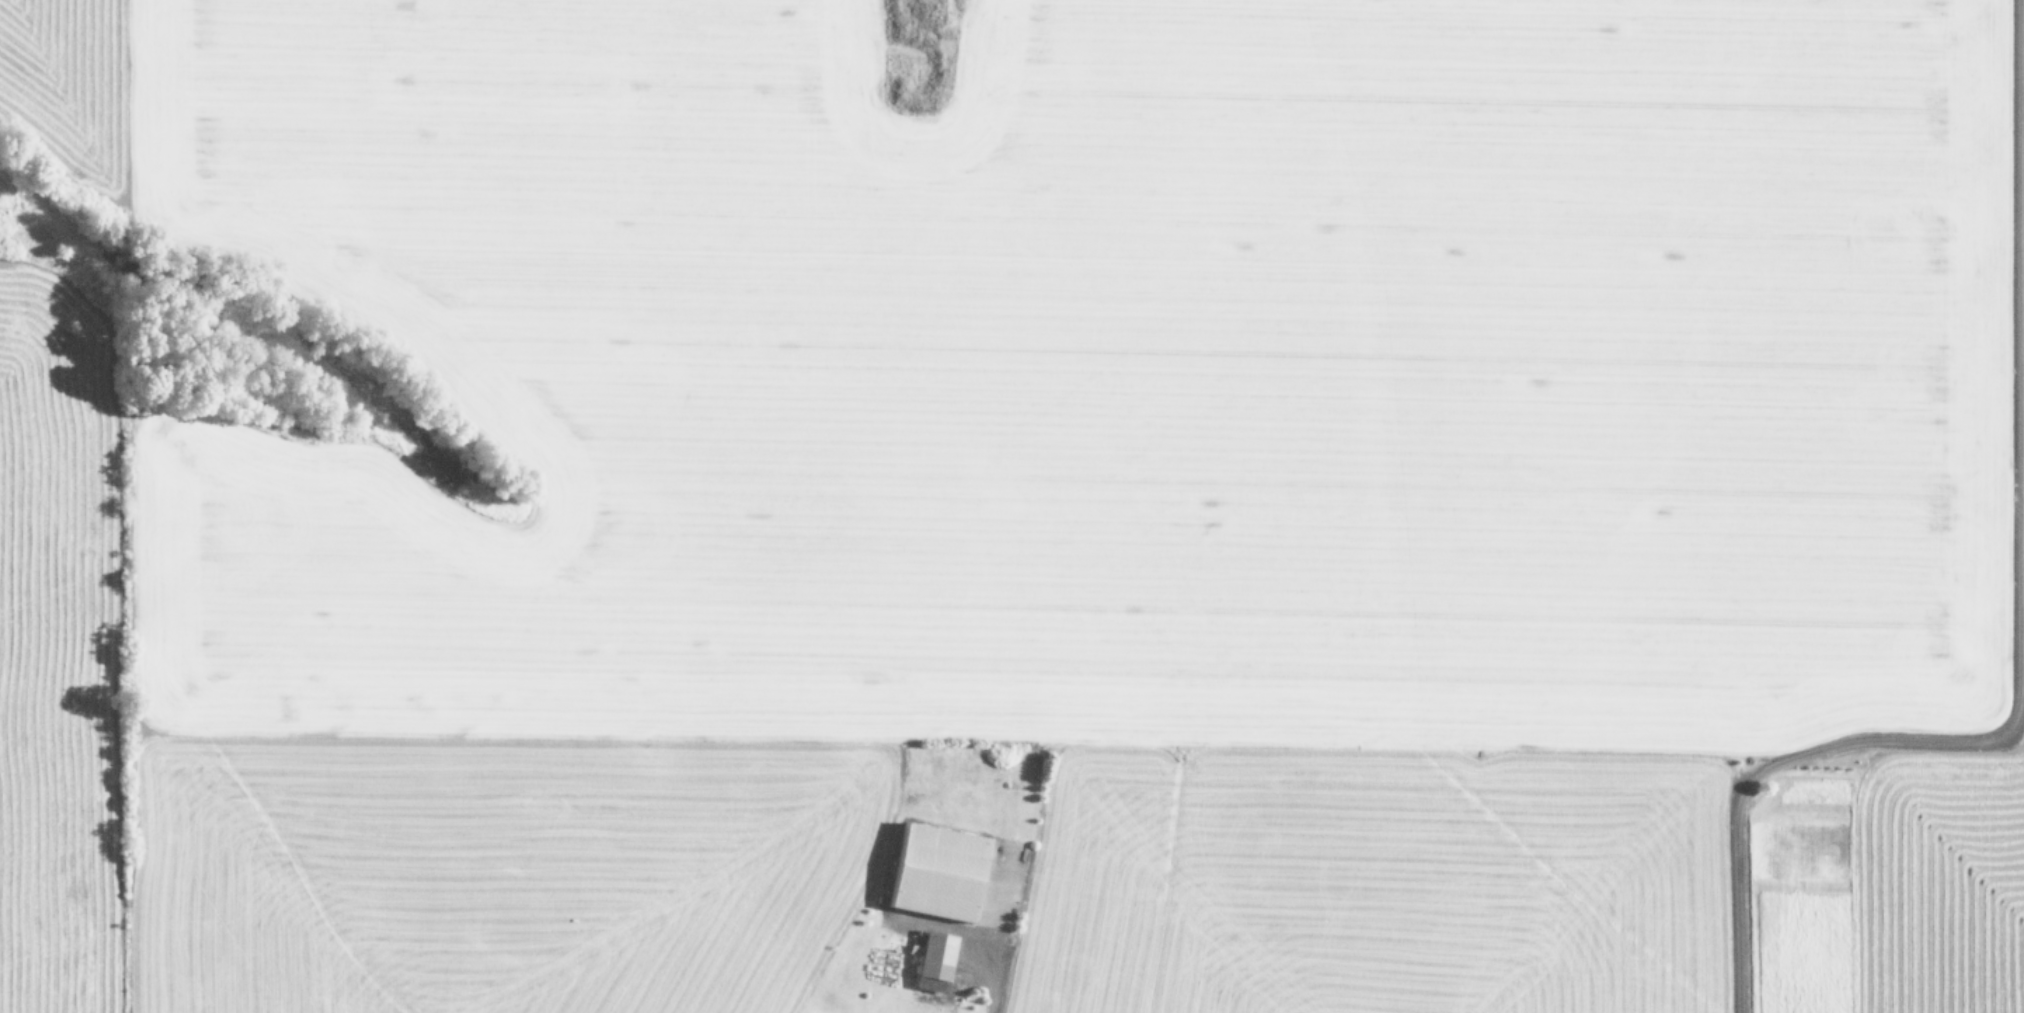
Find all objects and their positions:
crop: (1012, 506)
road: (1782, 777)
building: (930, 873)
building: (928, 962)

